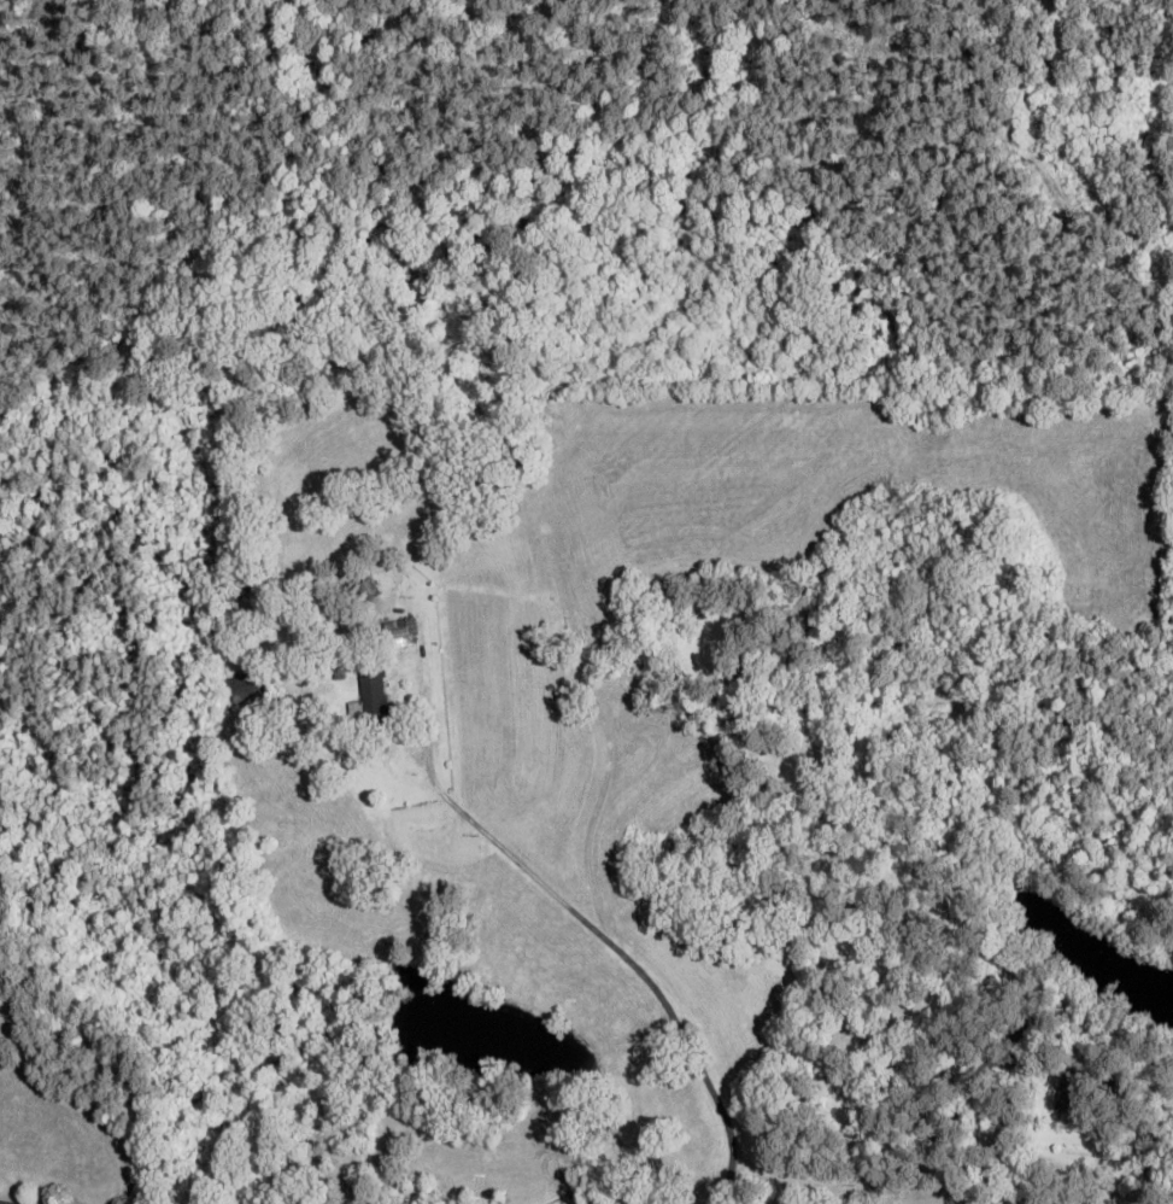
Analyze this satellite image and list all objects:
road: (1021, 84)
building: (374, 695)
road: (617, 945)
road: (0, 1203)

